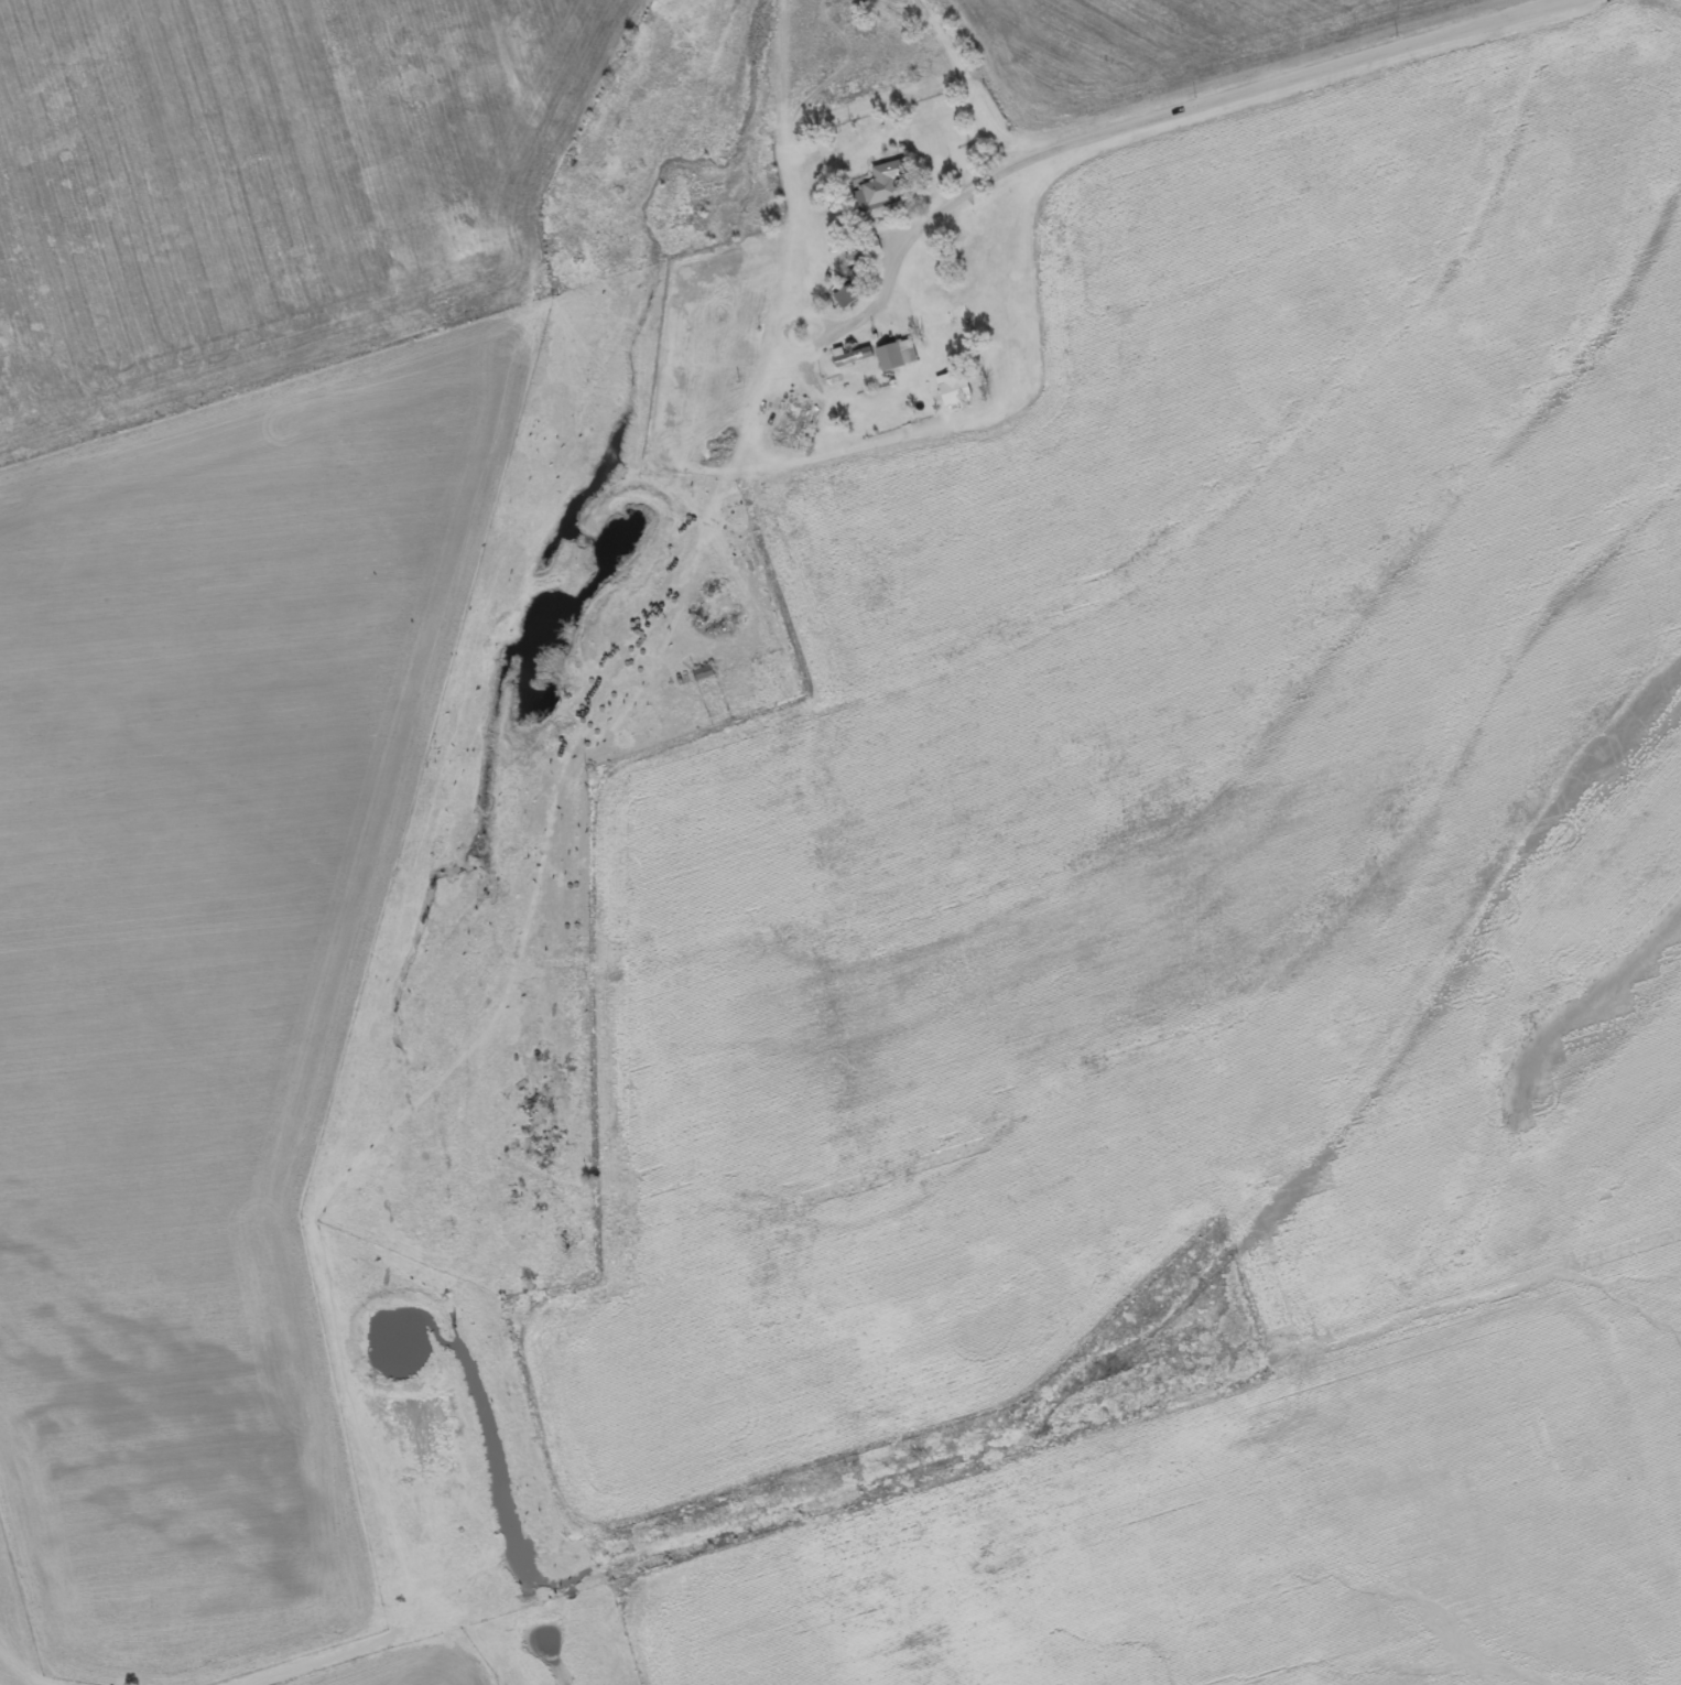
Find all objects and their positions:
road: (1134, 123)
building: (890, 187)
building: (853, 298)
building: (892, 354)
building: (950, 391)
building: (796, 426)
building: (701, 673)

